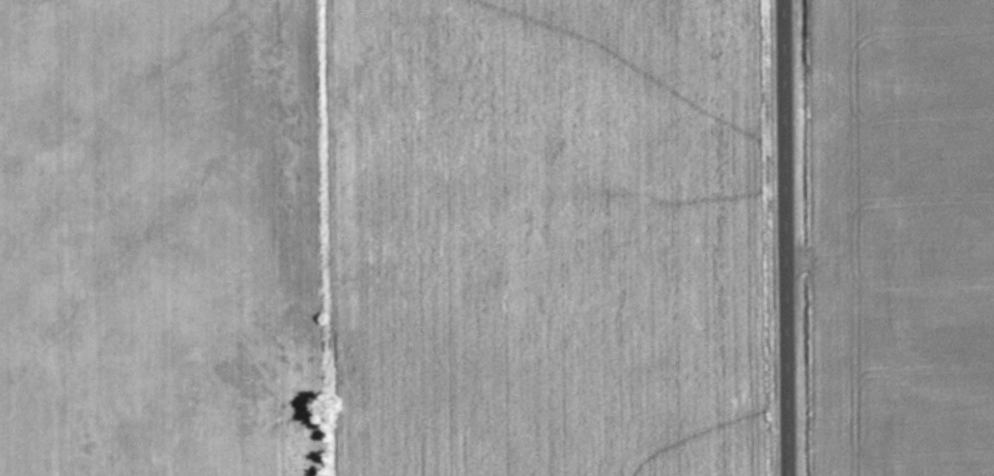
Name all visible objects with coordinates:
road: (790, 238)

